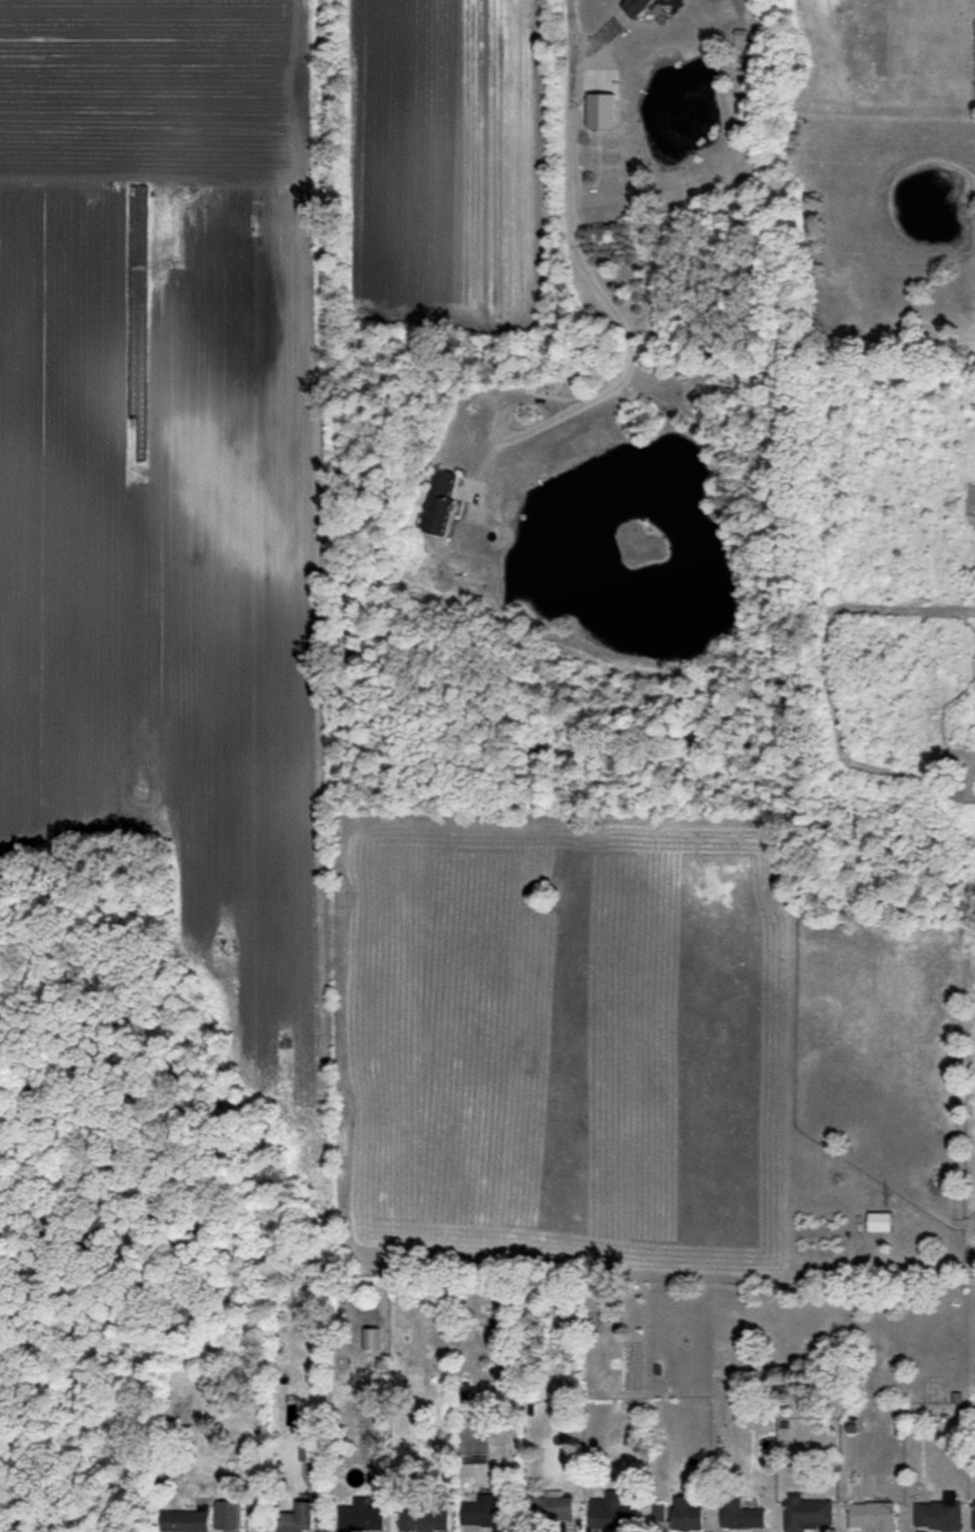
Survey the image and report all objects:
building: (668, 0)
building: (637, 7)
building: (740, 38)
road: (588, 279)
building: (443, 502)
building: (880, 1221)
building: (554, 1506)
building: (612, 1512)
building: (486, 1513)
building: (686, 1513)
building: (740, 1513)
building: (807, 1513)
building: (939, 1513)
building: (658, 1514)
building: (974, 1514)
building: (226, 1515)
building: (872, 1516)
building: (297, 1518)
building: (361, 1518)
building: (424, 1519)
building: (186, 1520)

